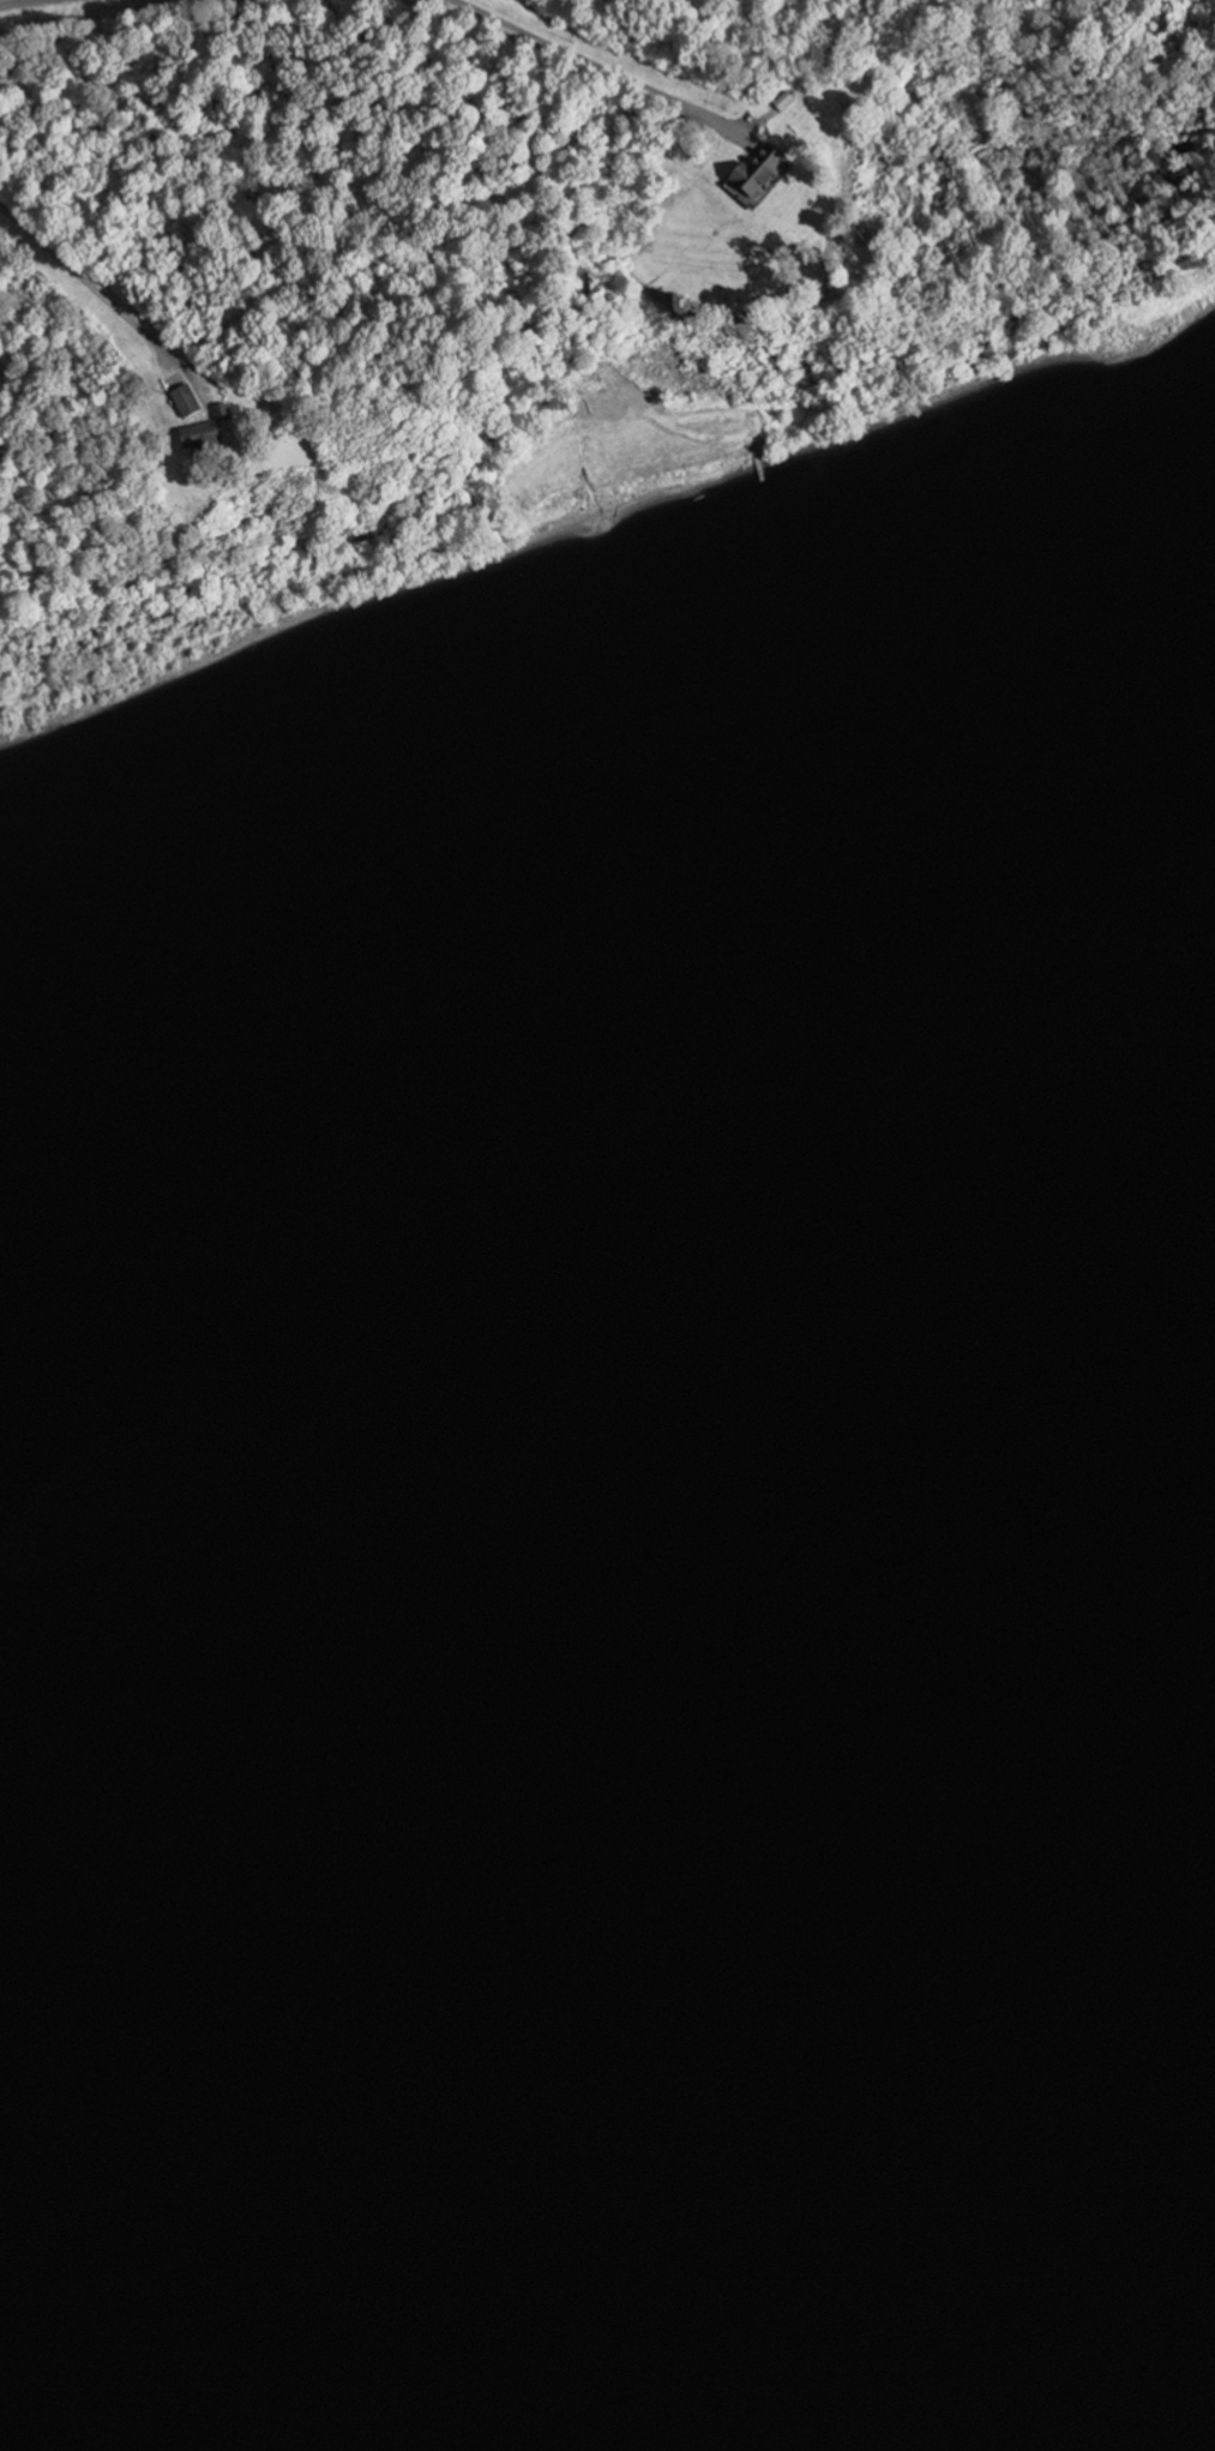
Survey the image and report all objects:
road: (25, 4)
road: (567, 55)
road: (720, 132)
building: (744, 175)
road: (1178, 300)
road: (108, 305)
building: (192, 404)
building: (219, 439)
building: (1002, 458)
river: (607, 1702)

